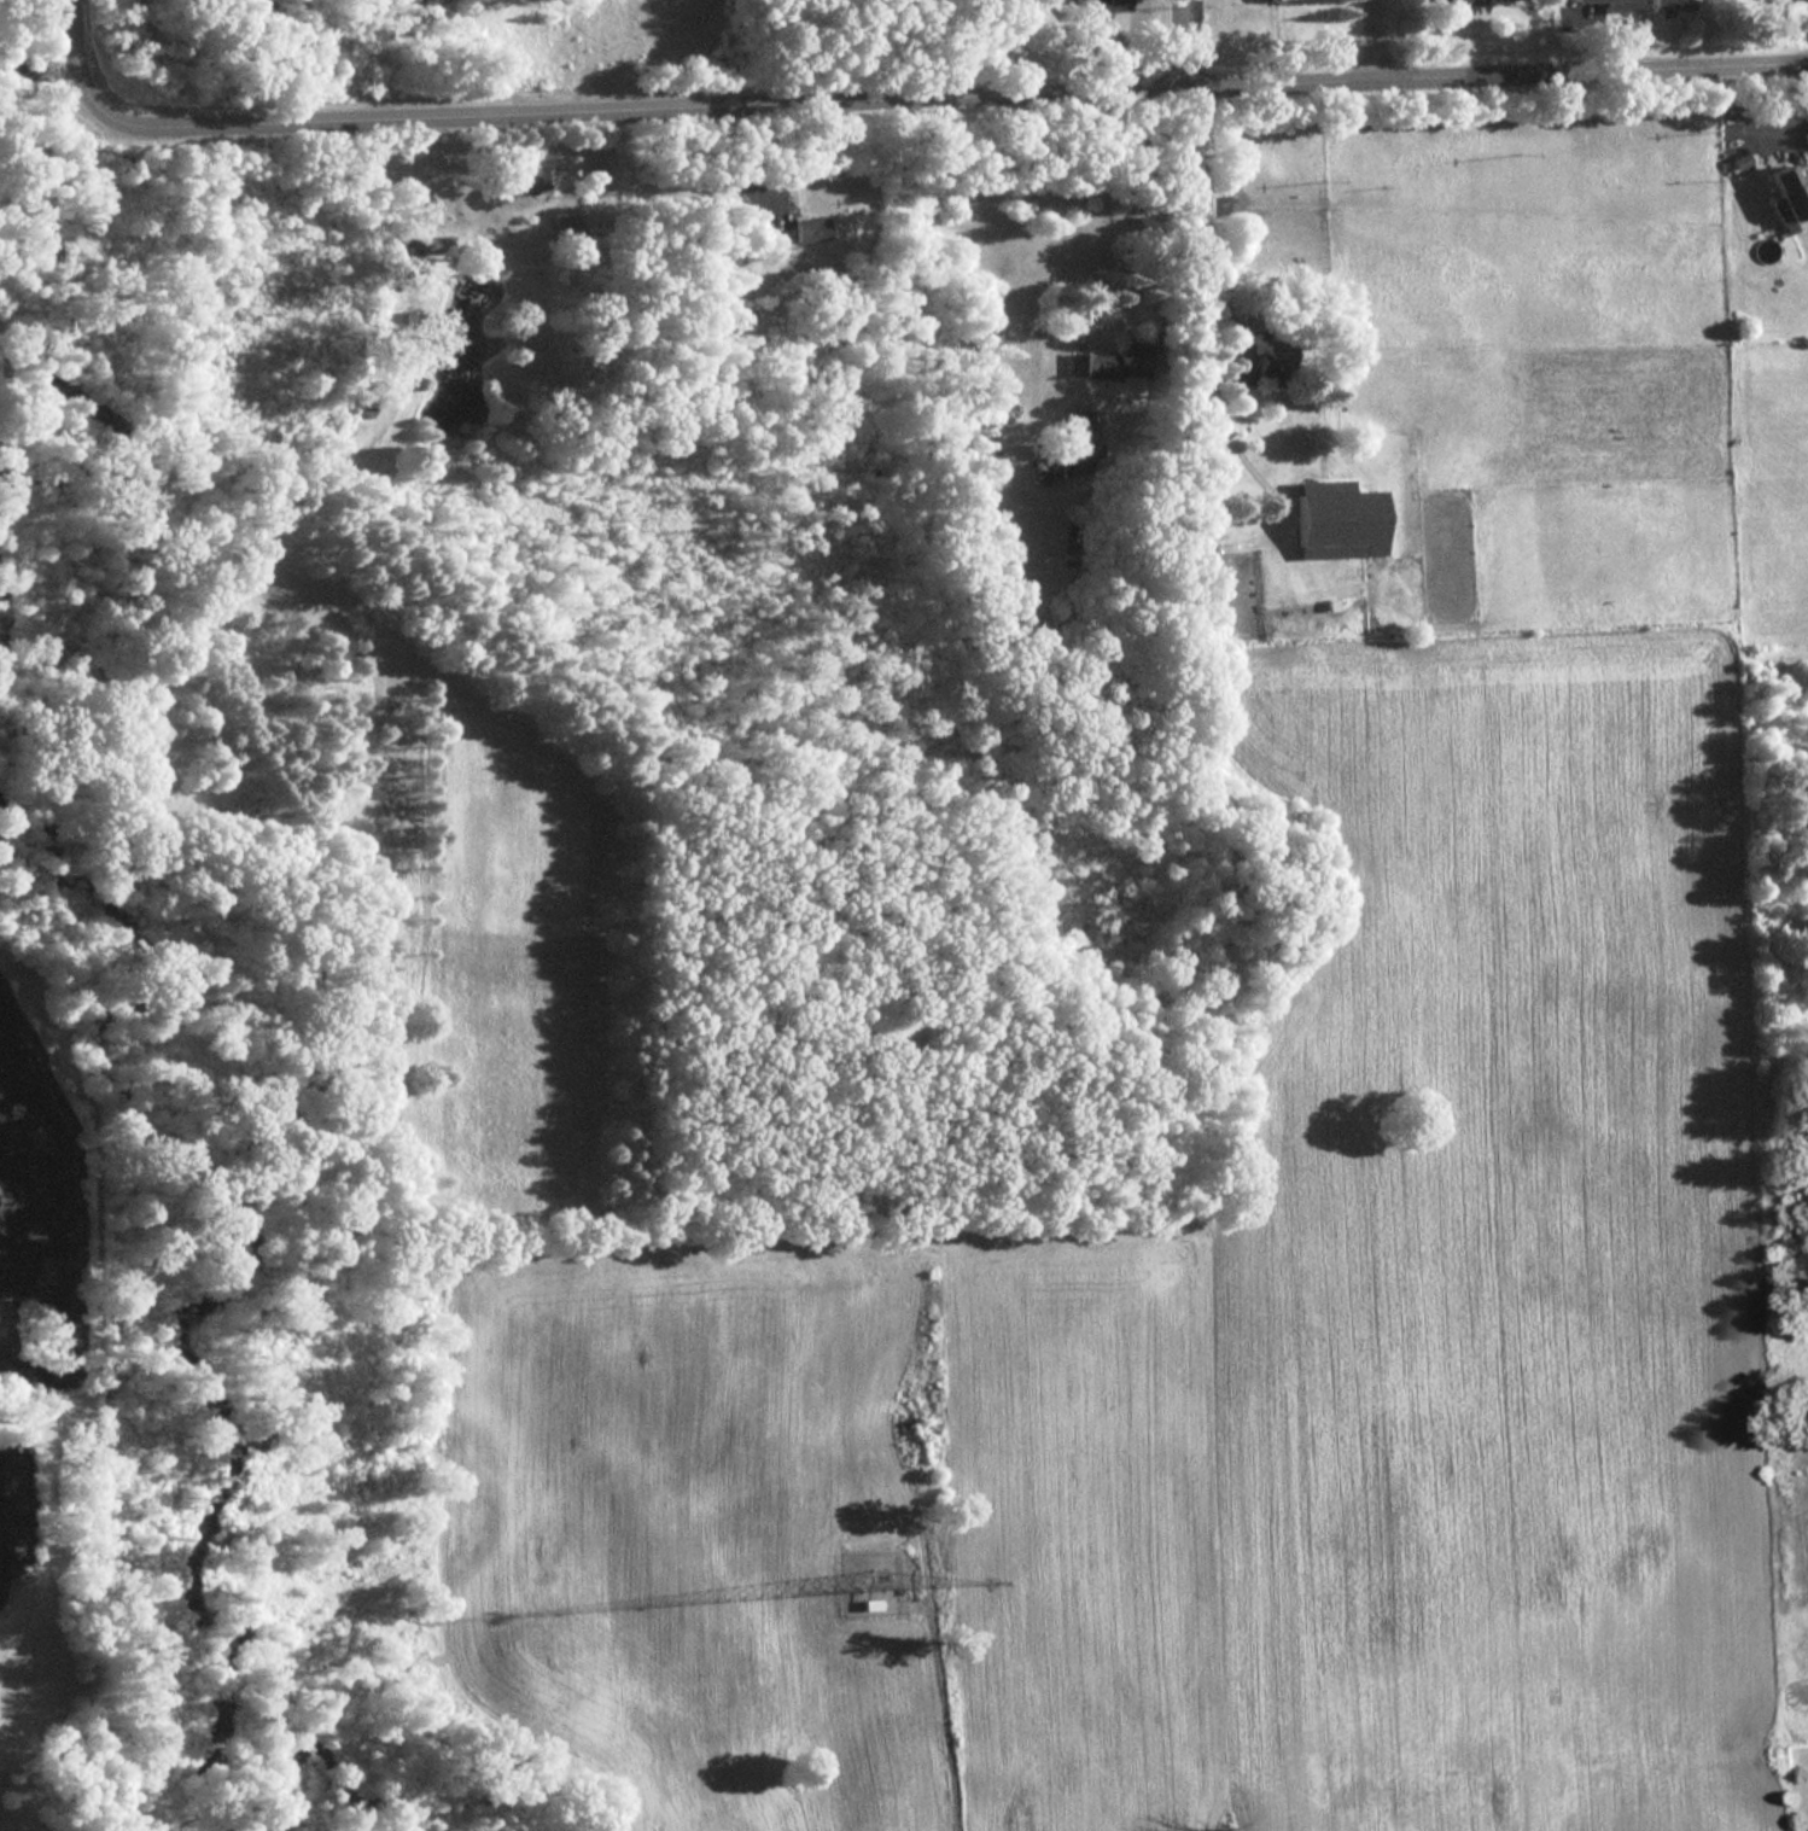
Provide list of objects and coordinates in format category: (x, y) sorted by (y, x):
building: (1265, 1)
building: (1464, 1)
building: (1614, 5)
building: (1664, 5)
building: (1101, 8)
road: (1384, 36)
road: (1194, 39)
road: (891, 98)
road: (1801, 134)
building: (509, 181)
road: (1206, 188)
building: (1785, 196)
building: (804, 229)
building: (431, 246)
building: (1337, 354)
building: (1090, 366)
building: (1272, 368)
building: (1238, 375)
building: (1075, 436)
building: (1335, 521)

